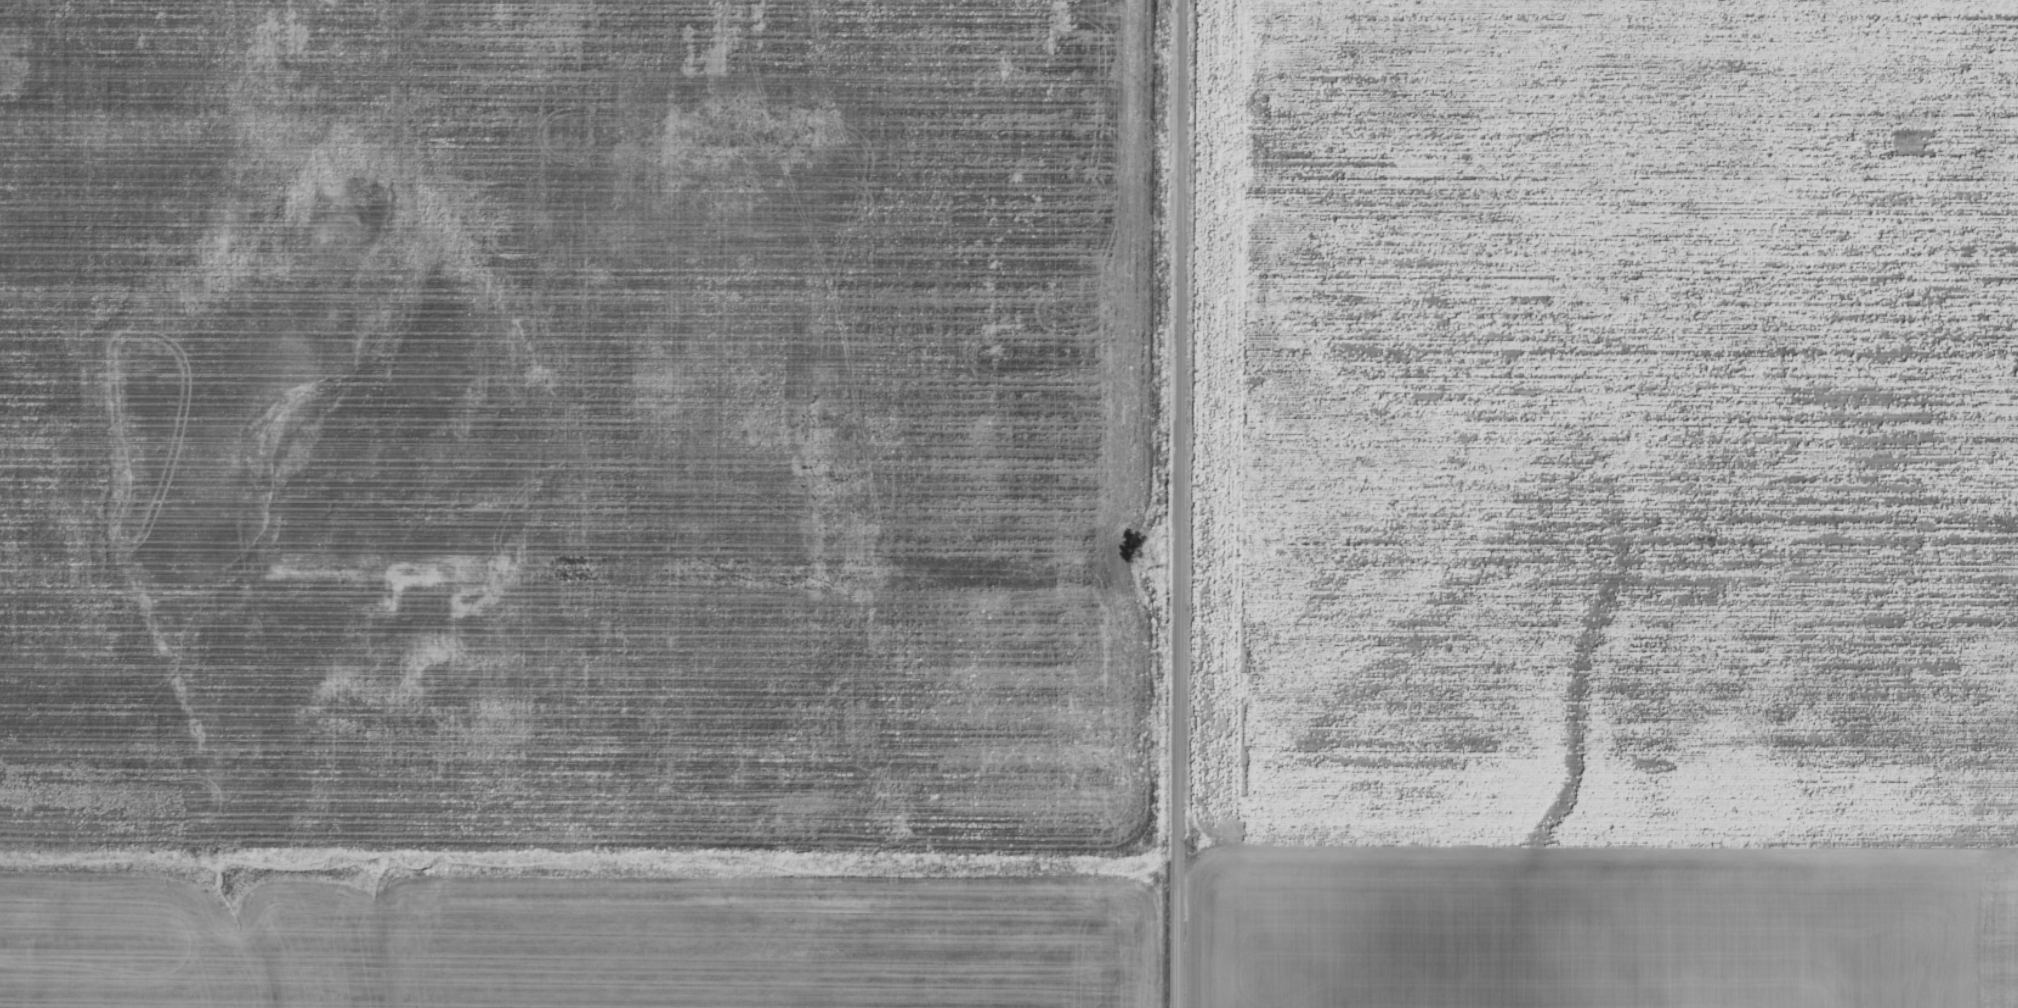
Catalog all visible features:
road: (1170, 504)

